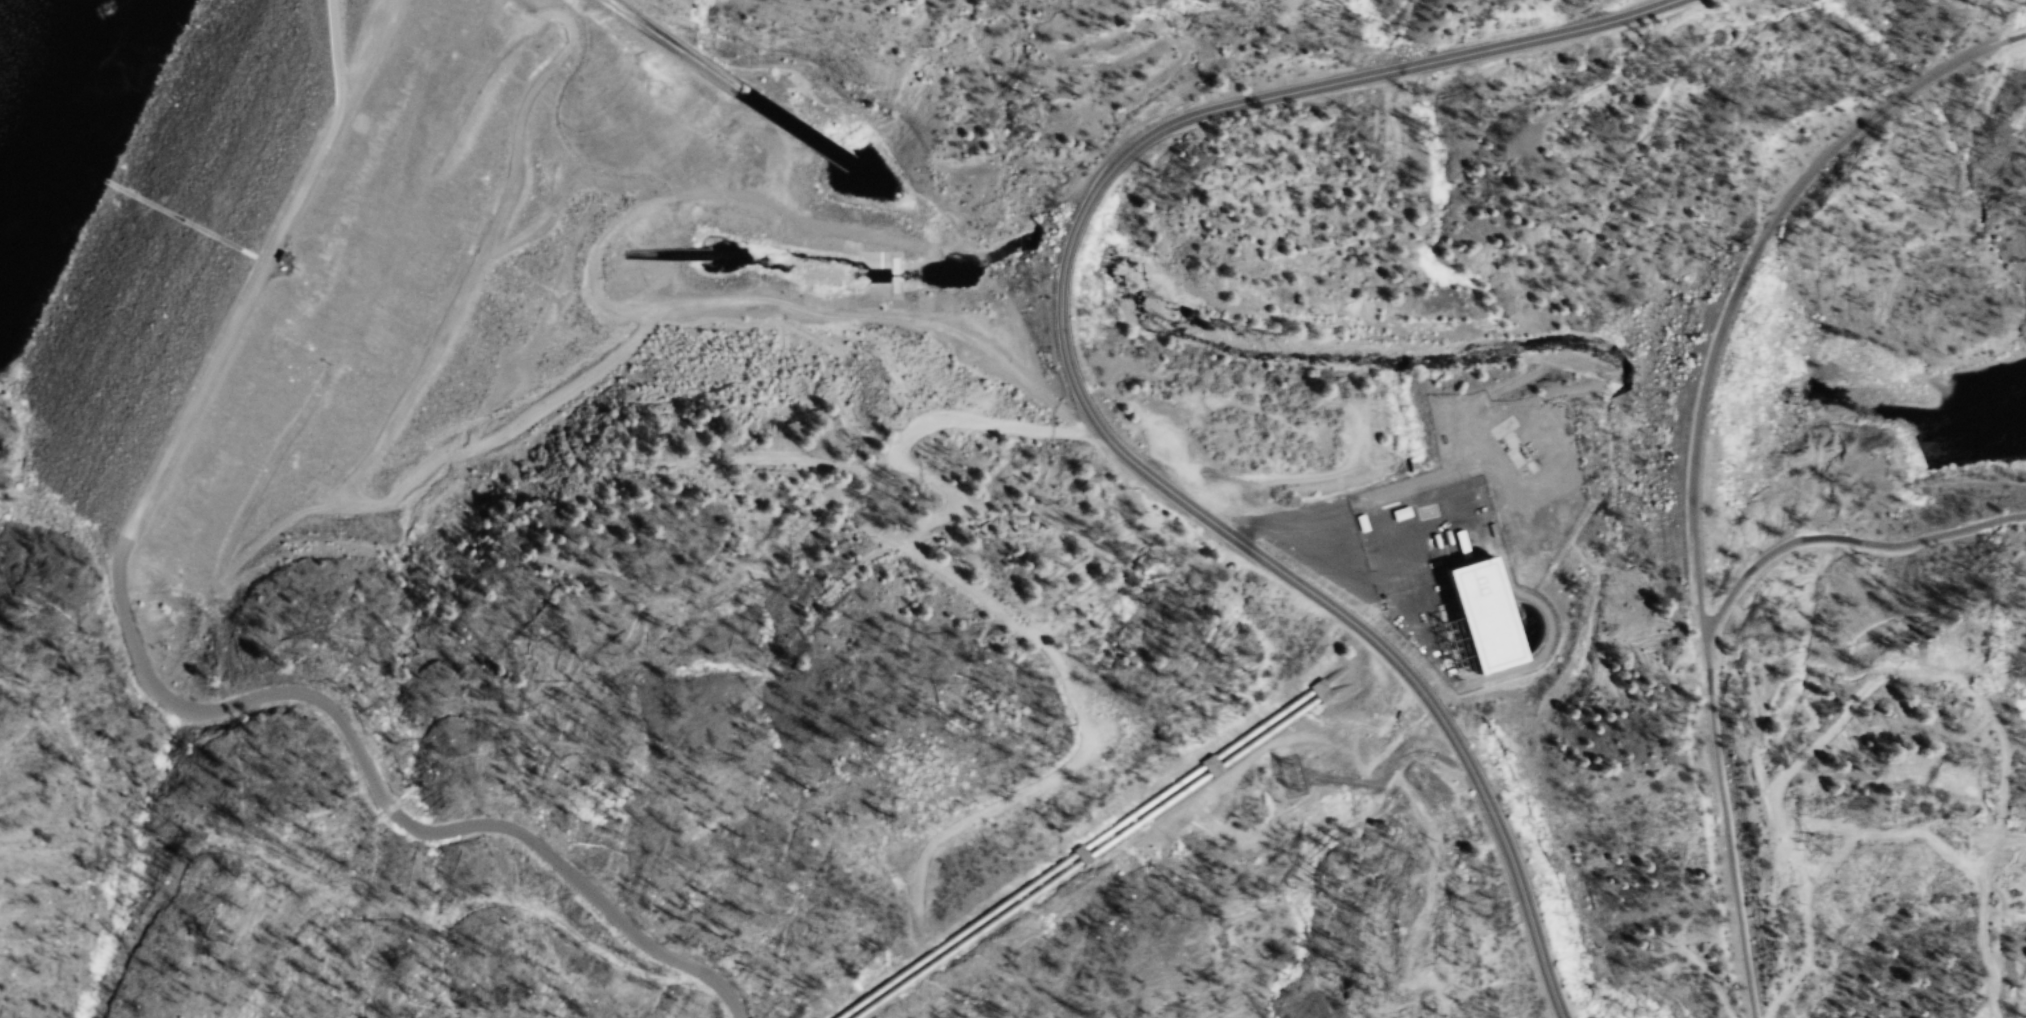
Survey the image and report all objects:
road: (339, 50)
road: (1142, 93)
road: (344, 103)
road: (1753, 265)
dam: (388, 299)
road: (1078, 390)
building: (1472, 511)
road: (1850, 540)
building: (1488, 617)
road: (153, 676)
road: (2006, 763)
power tower: (1295, 781)
road: (1730, 821)
road: (2011, 837)
power tower: (1809, 848)
road: (1987, 897)
road: (1979, 988)

